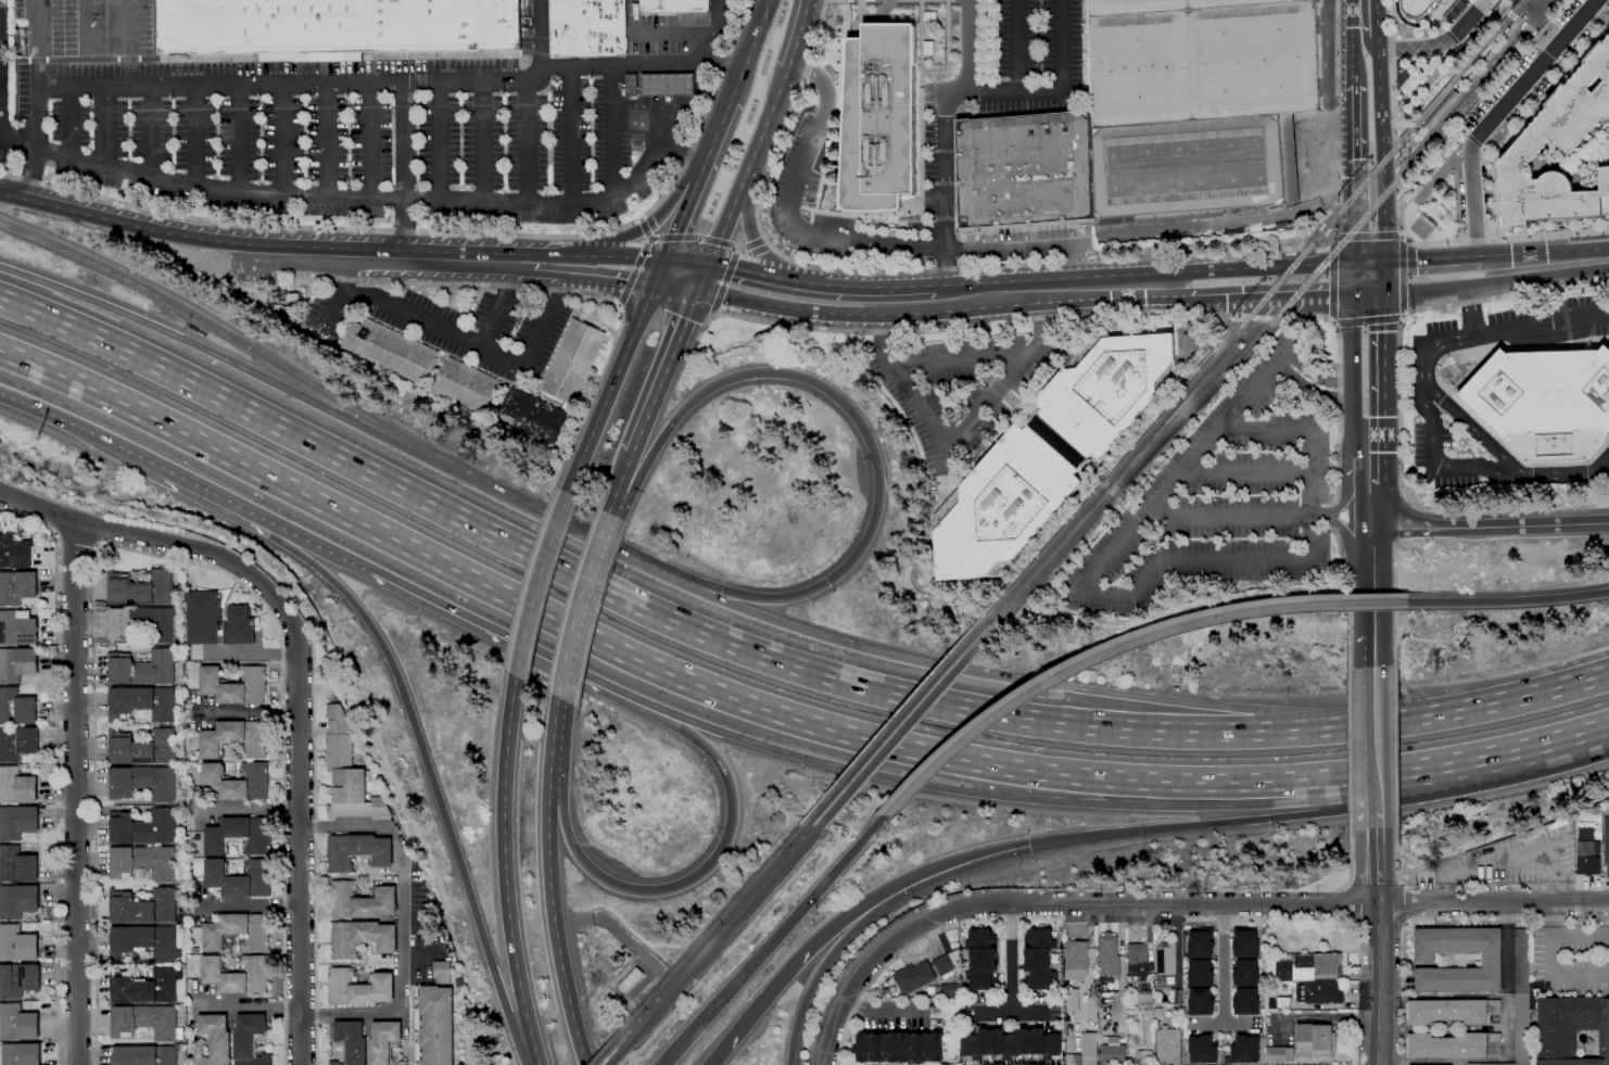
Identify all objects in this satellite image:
parking lot: (1, 2)
building: (674, 5)
building: (1418, 7)
road: (1500, 10)
road: (1510, 14)
road: (1469, 17)
road: (1518, 21)
road: (36, 23)
road: (86, 23)
road: (128, 23)
parking lot: (84, 24)
road: (1390, 24)
building: (335, 27)
building: (588, 27)
road: (1553, 27)
road: (1512, 28)
road: (1363, 29)
road: (1526, 29)
road: (673, 34)
road: (801, 35)
railway: (1505, 35)
road: (541, 39)
road: (989, 39)
road: (1352, 42)
road: (83, 46)
road: (966, 46)
road: (1018, 47)
road: (1417, 47)
road: (750, 49)
road: (949, 49)
road: (709, 50)
road: (1547, 55)
building: (1201, 59)
road: (36, 66)
road: (1559, 66)
road: (1, 75)
building: (632, 85)
building: (669, 85)
gas station: (669, 85)
road: (667, 90)
road: (977, 91)
road: (1393, 91)
building: (1441, 109)
road: (1496, 114)
road: (3, 118)
parking lot: (7, 118)
building: (879, 118)
road: (71, 125)
parking lot: (344, 126)
road: (105, 129)
building: (1557, 130)
road: (1382, 131)
road: (151, 134)
road: (199, 136)
road: (609, 137)
road: (238, 138)
road: (578, 138)
road: (286, 140)
road: (331, 141)
road: (441, 141)
road: (484, 141)
road: (371, 142)
road: (531, 142)
road: (1395, 144)
road: (16, 149)
road: (685, 151)
road: (1406, 151)
road: (1469, 152)
road: (1485, 154)
road: (1396, 162)
road: (1491, 165)
building: (1193, 167)
traffic signals: (1353, 169)
building: (1026, 170)
road: (405, 172)
road: (1353, 175)
road: (34, 176)
road: (698, 178)
road: (746, 180)
road: (1396, 180)
road: (1430, 183)
road: (1398, 213)
road: (641, 219)
road: (127, 220)
road: (655, 220)
road: (1319, 226)
road: (645, 228)
road: (1323, 229)
road: (442, 232)
road: (840, 234)
road: (1330, 234)
road: (1402, 236)
road: (648, 237)
road: (1366, 237)
road: (1403, 237)
road: (675, 238)
road: (700, 238)
road: (649, 239)
road: (752, 239)
road: (764, 240)
road: (719, 242)
road: (1446, 243)
road: (752, 244)
road: (738, 248)
road: (737, 251)
road: (643, 253)
road: (300, 254)
road: (1544, 254)
road: (615, 256)
road: (440, 258)
traffic signals: (667, 259)
road: (1432, 259)
traffic signals: (1415, 262)
road: (549, 263)
road: (1031, 263)
road: (1369, 264)
traffic signals: (711, 266)
road: (636, 267)
road: (731, 268)
road: (660, 271)
road: (1144, 274)
road: (608, 277)
road: (1403, 277)
road: (1384, 278)
road: (1333, 279)
road: (1481, 281)
road: (799, 282)
road: (445, 283)
traffic signals: (655, 284)
road: (724, 284)
road: (626, 287)
road: (677, 288)
traffic signals: (700, 292)
road: (1272, 295)
building: (294, 296)
road: (718, 299)
traffic signals: (1233, 299)
building: (283, 301)
road: (501, 304)
road: (619, 306)
railway: (1257, 307)
road: (1469, 308)
road: (1412, 312)
road: (190, 313)
road: (334, 313)
road: (945, 313)
railway: (1279, 313)
road: (713, 315)
road: (1403, 317)
road: (1264, 318)
road: (1368, 319)
road: (1541, 321)
road: (1333, 322)
road: (971, 326)
traffic signals: (1384, 331)
road: (468, 340)
road: (185, 341)
building: (1239, 344)
road: (1290, 344)
flagpole: (1589, 345)
building: (393, 350)
road: (1433, 350)
road: (1288, 356)
building: (573, 360)
road: (962, 362)
road: (666, 372)
road: (1313, 372)
road: (1344, 383)
building: (469, 384)
road: (1303, 385)
road: (1384, 386)
road: (997, 388)
road: (1340, 388)
road: (611, 389)
building: (430, 390)
parking lot: (963, 390)
road: (1344, 396)
road: (1353, 400)
building: (1545, 403)
road: (1018, 406)
fountain: (1018, 407)
building: (535, 416)
road: (66, 422)
road: (862, 430)
road: (1263, 430)
road: (962, 433)
building: (1050, 453)
road: (1597, 466)
road: (1494, 469)
road: (1549, 470)
road: (1245, 471)
road: (622, 478)
road: (201, 487)
road: (1110, 487)
road: (1346, 489)
parking lot: (1226, 493)
road: (1308, 494)
road: (520, 506)
road: (610, 507)
road: (1381, 507)
road: (1317, 516)
road: (1334, 516)
road: (1141, 517)
road: (1229, 517)
road: (1491, 528)
road: (1352, 542)
road: (320, 547)
building: (15, 551)
road: (1373, 551)
road: (160, 557)
road: (1101, 566)
traffic signals: (827, 582)
road: (536, 583)
building: (17, 586)
building: (143, 587)
road: (1394, 589)
road: (615, 597)
road: (1348, 598)
road: (1508, 600)
road: (578, 603)
road: (1373, 605)
building: (218, 621)
building: (122, 626)
building: (18, 627)
road: (515, 642)
road: (1119, 647)
road: (1373, 651)
road: (628, 658)
building: (17, 663)
building: (143, 668)
road: (975, 676)
road: (299, 679)
building: (236, 685)
building: (142, 702)
building: (17, 707)
road: (1446, 711)
railway: (898, 717)
railway: (909, 721)
road: (553, 730)
building: (237, 739)
road: (1374, 739)
building: (18, 743)
road: (1568, 743)
road: (1395, 745)
building: (142, 748)
road: (1350, 750)
road: (426, 766)
road: (56, 768)
road: (1444, 769)
building: (349, 772)
building: (238, 782)
building: (144, 783)
road: (1335, 783)
building: (17, 785)
road: (75, 793)
road: (984, 795)
road: (1376, 820)
building: (18, 822)
road: (1200, 825)
building: (143, 827)
building: (241, 835)
road: (548, 842)
building: (1607, 845)
traffic signals: (1029, 846)
building: (358, 851)
building: (1587, 851)
road: (998, 852)
road: (316, 854)
parking lot: (1517, 858)
road: (504, 861)
road: (1508, 861)
building: (145, 862)
road: (1396, 862)
road: (1350, 863)
building: (17, 864)
road: (1376, 865)
building: (241, 878)
road: (683, 882)
road: (1351, 882)
road: (1377, 885)
road: (1402, 886)
building: (18, 900)
building: (362, 901)
road: (1302, 903)
road: (1403, 904)
building: (145, 906)
road: (606, 920)
road: (1439, 922)
road: (402, 923)
railway: (715, 924)
road: (1407, 924)
building: (239, 931)
railway: (723, 933)
road: (846, 936)
road: (926, 937)
building: (363, 938)
road: (772, 940)
road: (823, 940)
building: (1201, 941)
building: (1245, 941)
building: (143, 942)
building: (17, 943)
road: (1179, 946)
road: (879, 953)
building: (1110, 954)
building: (1054, 955)
road: (1012, 956)
building: (1424, 958)
building: (1038, 959)
building: (1077, 959)
building: (1167, 959)
building: (981, 960)
building: (1138, 960)
parking lot: (1572, 960)
building: (1522, 961)
road: (1224, 963)
building: (1327, 963)
building: (946, 964)
building: (443, 971)
building: (1201, 971)
building: (1245, 971)
building: (238, 975)
building: (914, 977)
building: (18, 979)
building: (632, 980)
road: (1382, 984)
building: (148, 986)
building: (359, 988)
building: (937, 988)
building: (950, 990)
building: (1319, 992)
road: (566, 993)
building: (1145, 998)
building: (1157, 999)
building: (1201, 999)
building: (1245, 999)
building: (1074, 1000)
building: (1283, 1003)
building: (1092, 1005)
road: (885, 1010)
road: (1012, 1011)
building: (1453, 1011)
building: (1129, 1014)
road: (1317, 1015)
building: (148, 1022)
building: (18, 1023)
road: (1225, 1023)
building: (436, 1025)
building: (1522, 1028)
building: (1571, 1028)
building: (1069, 1039)
building: (250, 1040)
building: (1314, 1040)
road: (1355, 1040)
building: (215, 1041)
building: (1005, 1041)
building: (352, 1042)
building: (385, 1042)
building: (898, 1044)
building: (1168, 1045)
building: (1455, 1045)
building: (1203, 1047)
building: (1245, 1047)
railway: (607, 1048)
building: (1089, 1049)
building: (22, 1053)
building: (1279, 1053)
road: (534, 1054)
railway: (617, 1054)
building: (1114, 1054)
building: (144, 1055)
building: (1144, 1055)
building: (1070, 1060)
building: (1498, 1064)

